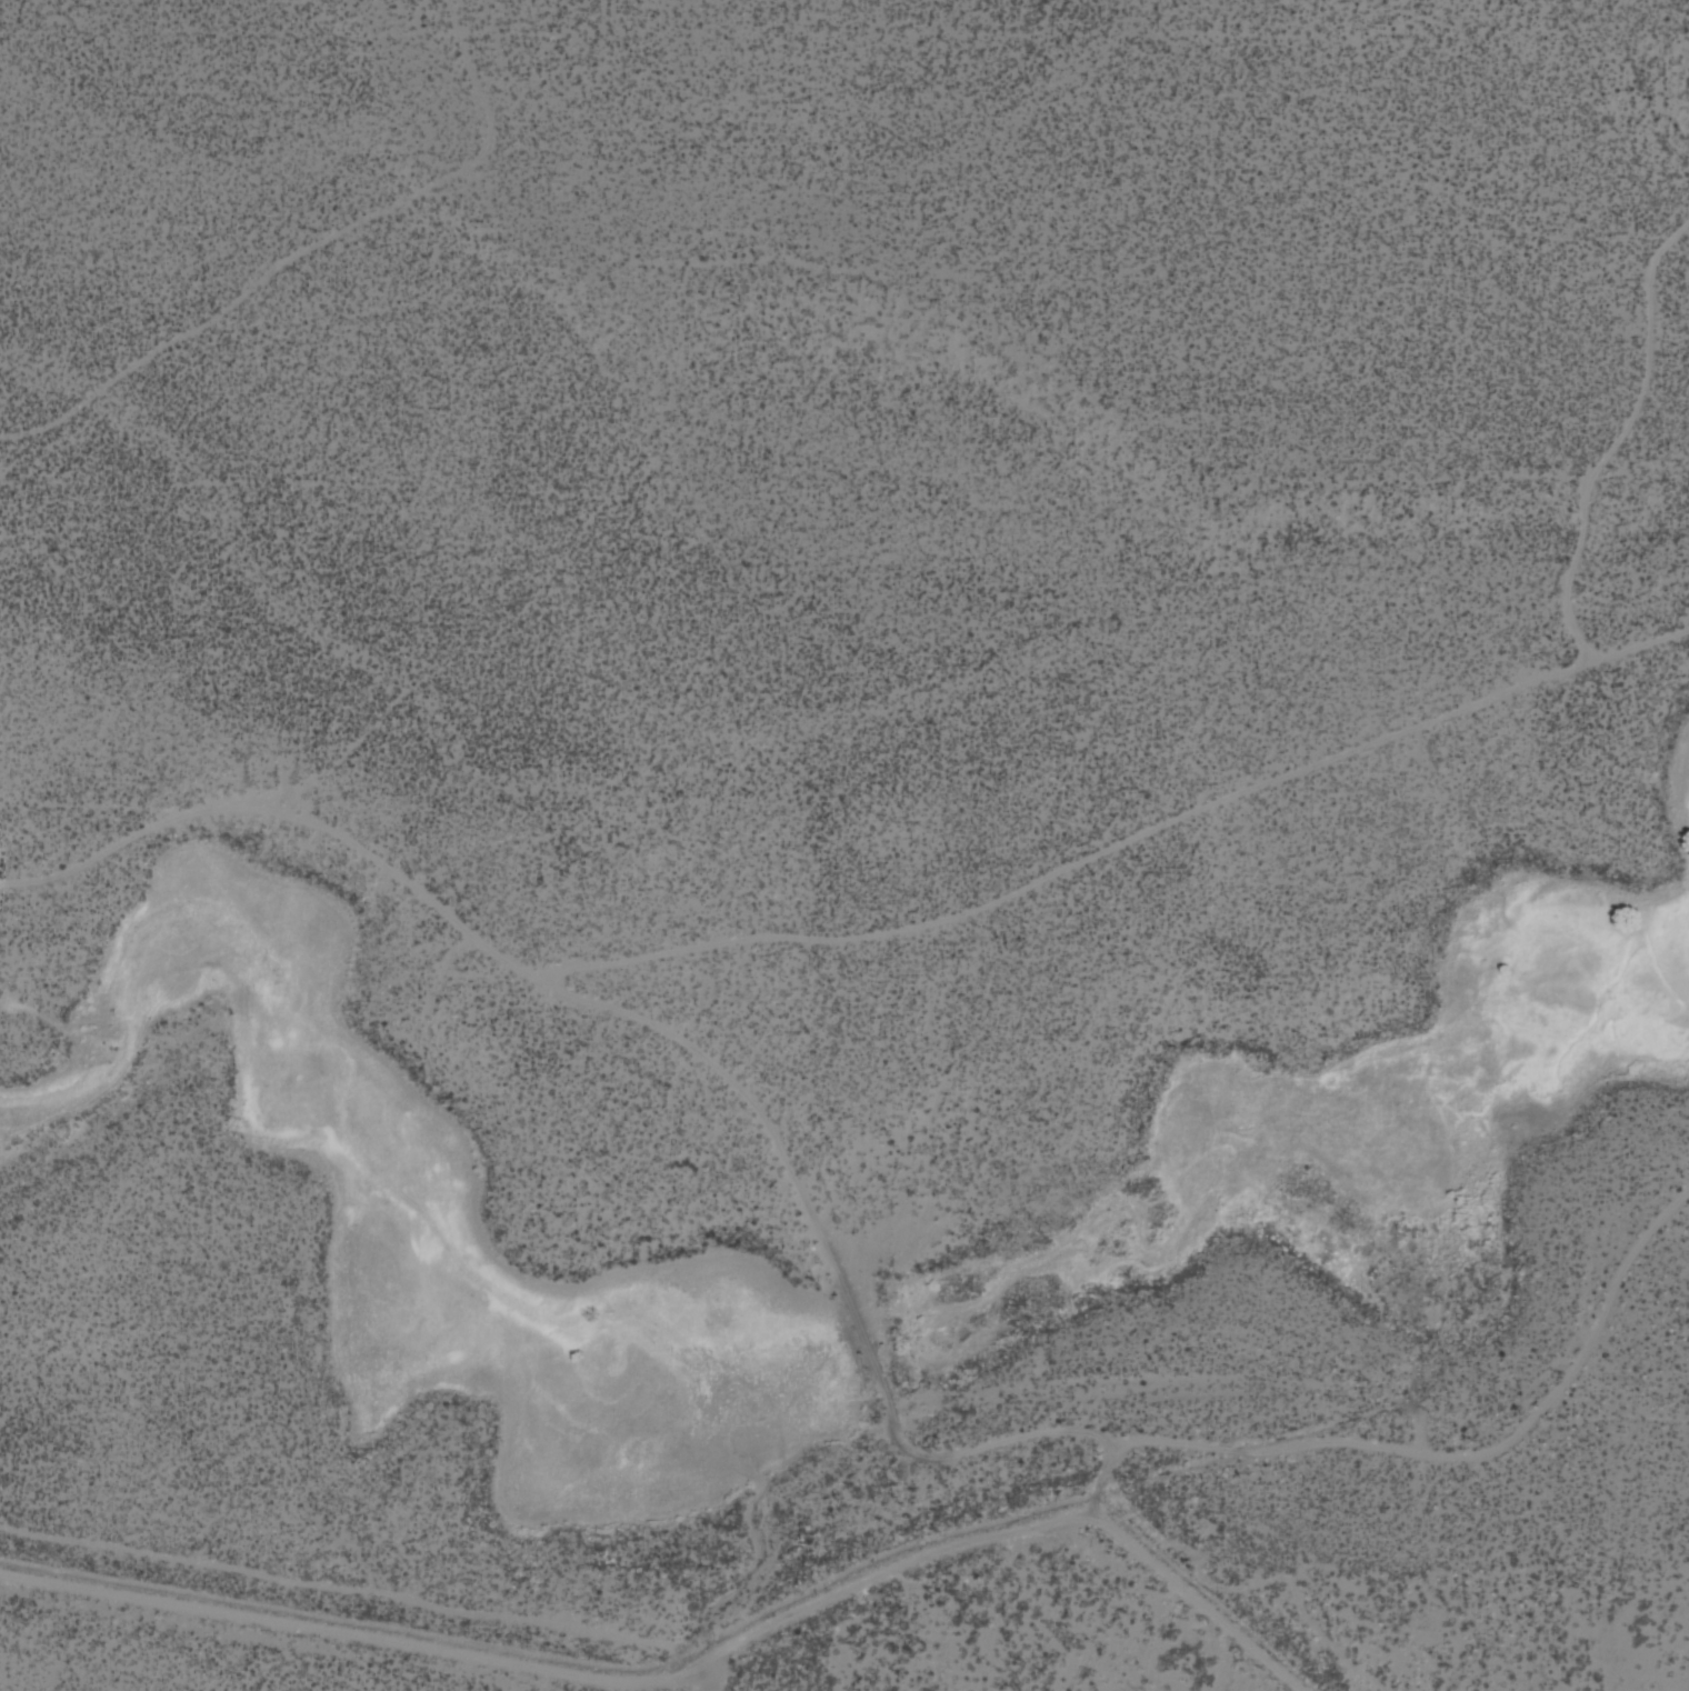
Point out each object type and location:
road: (1623, 441)
road: (1426, 1454)
road: (682, 1675)

